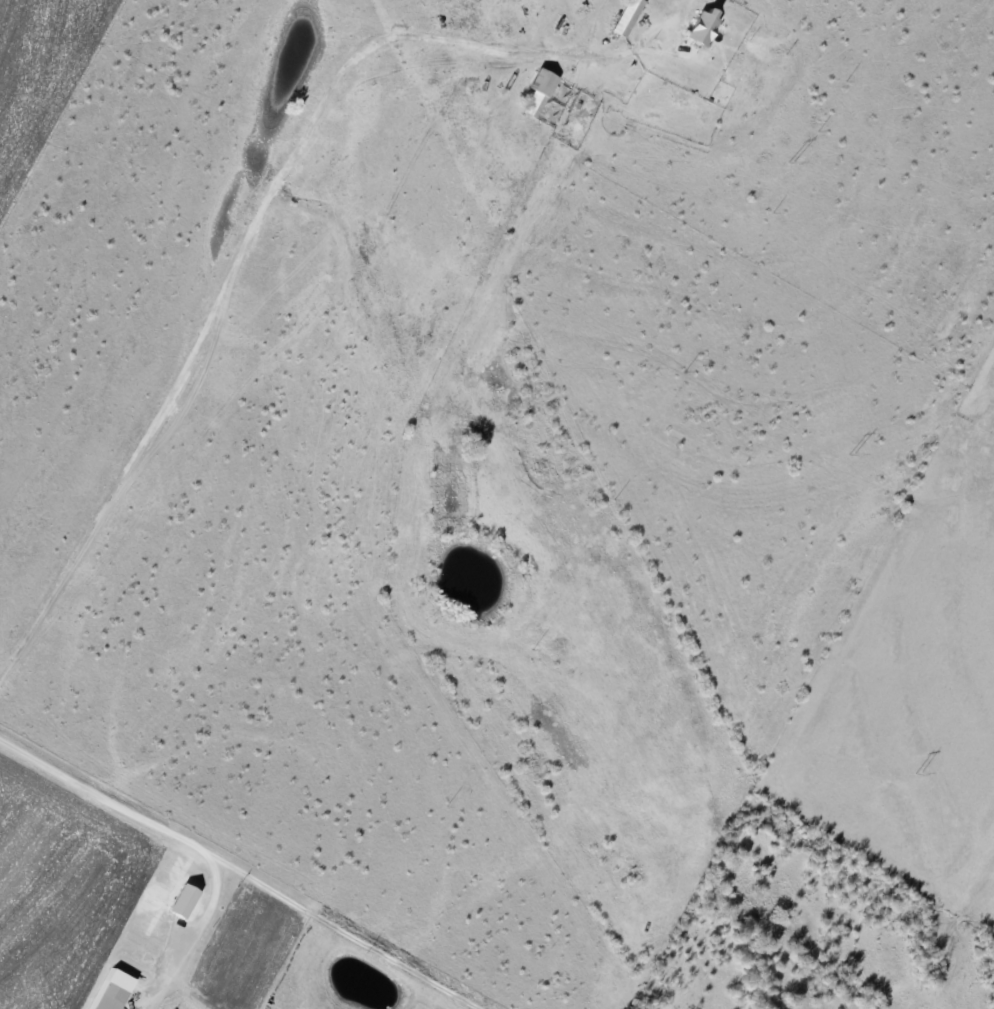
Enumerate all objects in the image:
building: (626, 17)
building: (699, 26)
building: (539, 88)
power tower: (793, 162)
road: (247, 241)
power tower: (854, 454)
crop: (922, 690)
power tower: (919, 773)
road: (241, 871)
building: (188, 900)
road: (206, 917)
building: (114, 990)

